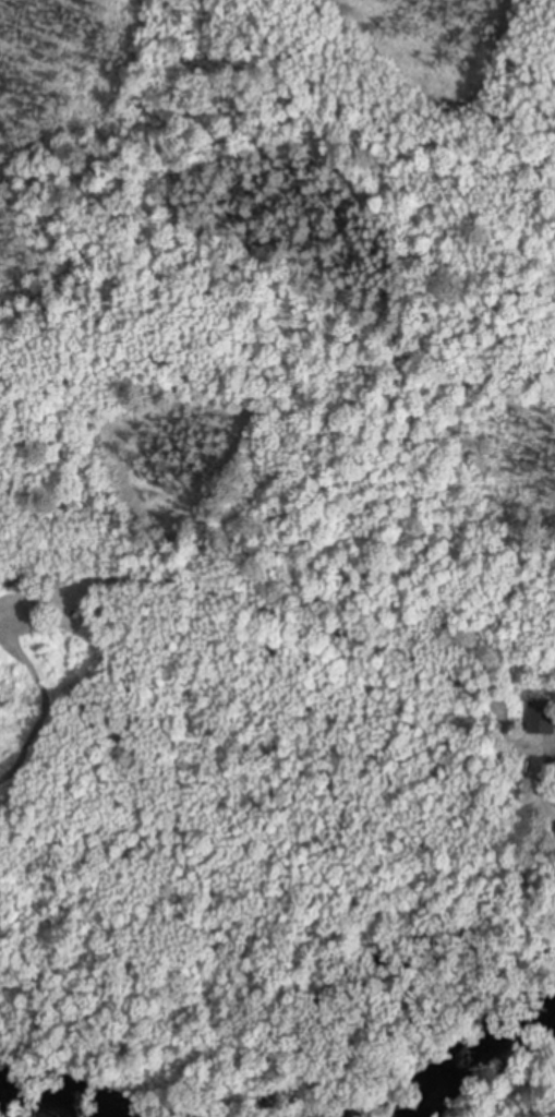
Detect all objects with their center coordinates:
road: (545, 754)
river: (496, 1073)
river: (60, 1104)

